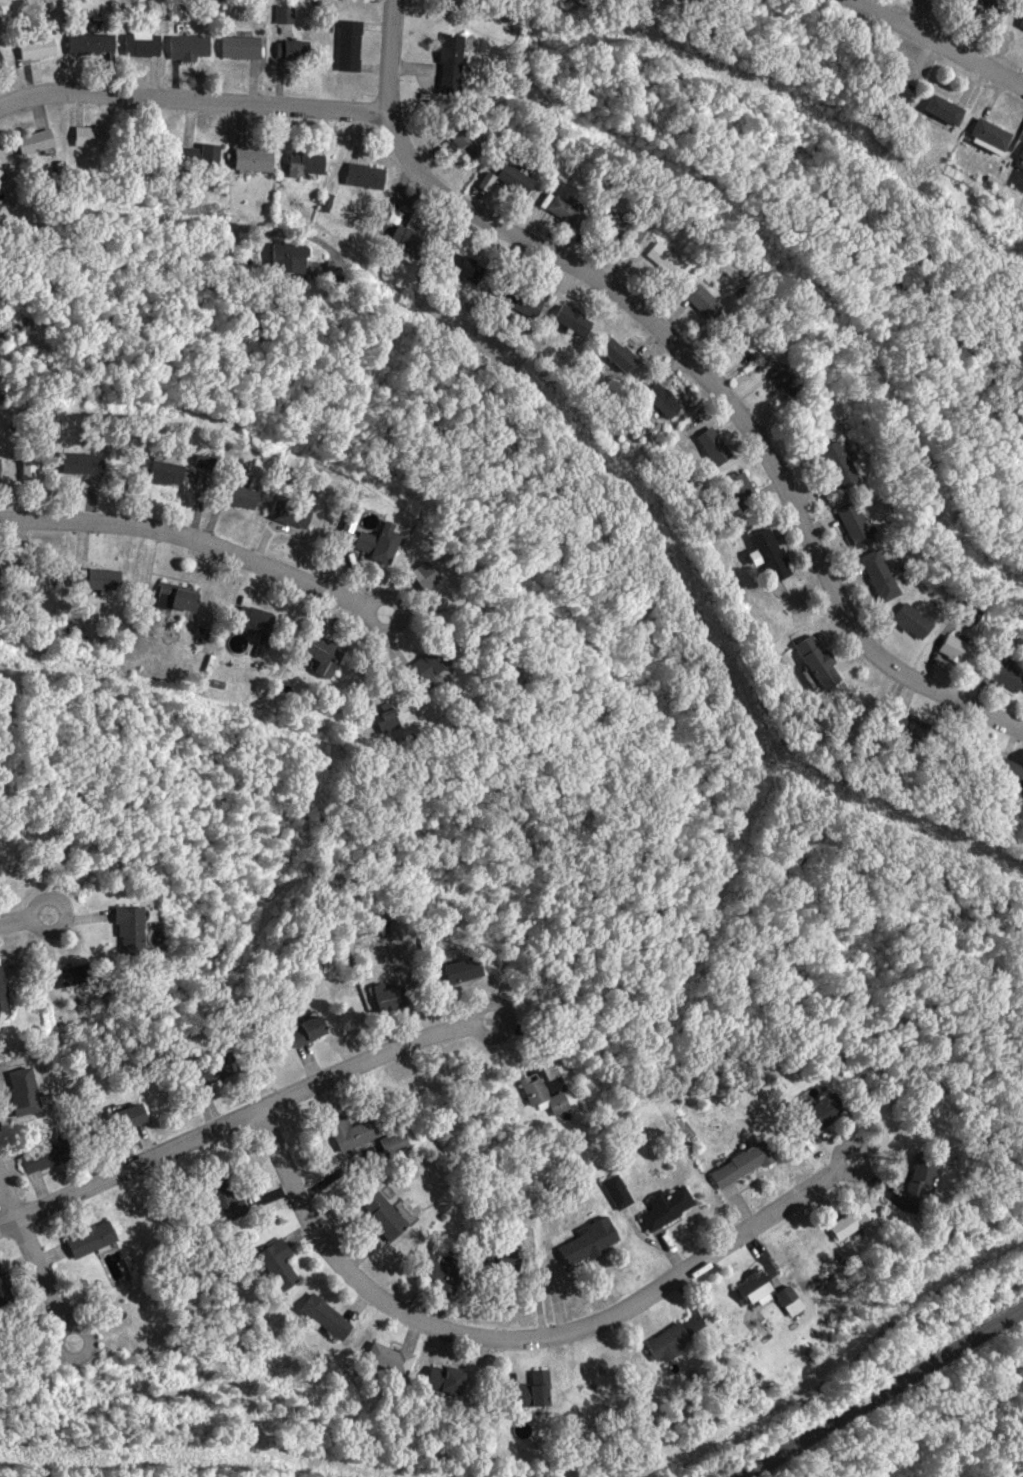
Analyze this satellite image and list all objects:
building: (991, 4)
building: (292, 13)
road: (918, 17)
building: (1022, 25)
building: (101, 43)
building: (150, 43)
building: (357, 45)
road: (932, 45)
building: (196, 47)
building: (250, 47)
building: (45, 48)
building: (302, 49)
building: (0, 55)
building: (460, 63)
building: (0, 71)
building: (897, 86)
road: (193, 100)
building: (944, 109)
building: (102, 136)
building: (46, 141)
building: (474, 143)
building: (206, 155)
building: (1022, 158)
building: (263, 159)
building: (314, 163)
building: (374, 175)
building: (525, 179)
building: (5, 180)
building: (496, 180)
building: (571, 208)
building: (297, 257)
building: (674, 259)
building: (472, 266)
building: (530, 299)
building: (581, 318)
building: (752, 339)
building: (627, 353)
road: (692, 367)
building: (2, 377)
building: (791, 379)
building: (673, 400)
building: (715, 445)
building: (92, 463)
building: (840, 464)
building: (40, 471)
building: (177, 472)
building: (741, 491)
building: (247, 495)
building: (298, 514)
building: (360, 518)
building: (857, 524)
building: (388, 542)
road: (211, 543)
building: (771, 554)
building: (434, 575)
building: (882, 576)
building: (107, 578)
building: (190, 598)
building: (971, 612)
building: (914, 621)
building: (265, 627)
building: (960, 649)
building: (333, 653)
building: (818, 661)
building: (438, 666)
building: (1006, 672)
building: (912, 725)
building: (1010, 769)
road: (22, 913)
building: (132, 929)
building: (468, 969)
building: (71, 976)
building: (392, 996)
building: (309, 1029)
building: (211, 1073)
building: (26, 1090)
building: (545, 1095)
building: (825, 1110)
building: (128, 1117)
road: (243, 1117)
building: (352, 1132)
building: (48, 1156)
building: (741, 1164)
building: (923, 1174)
building: (226, 1198)
road: (6, 1201)
building: (669, 1206)
building: (385, 1215)
building: (852, 1220)
building: (93, 1239)
building: (590, 1241)
building: (278, 1263)
building: (442, 1270)
road: (31, 1275)
building: (756, 1293)
building: (792, 1299)
building: (326, 1316)
road: (525, 1339)
building: (668, 1342)
building: (391, 1358)
building: (446, 1379)
road: (882, 1393)
building: (527, 1394)

